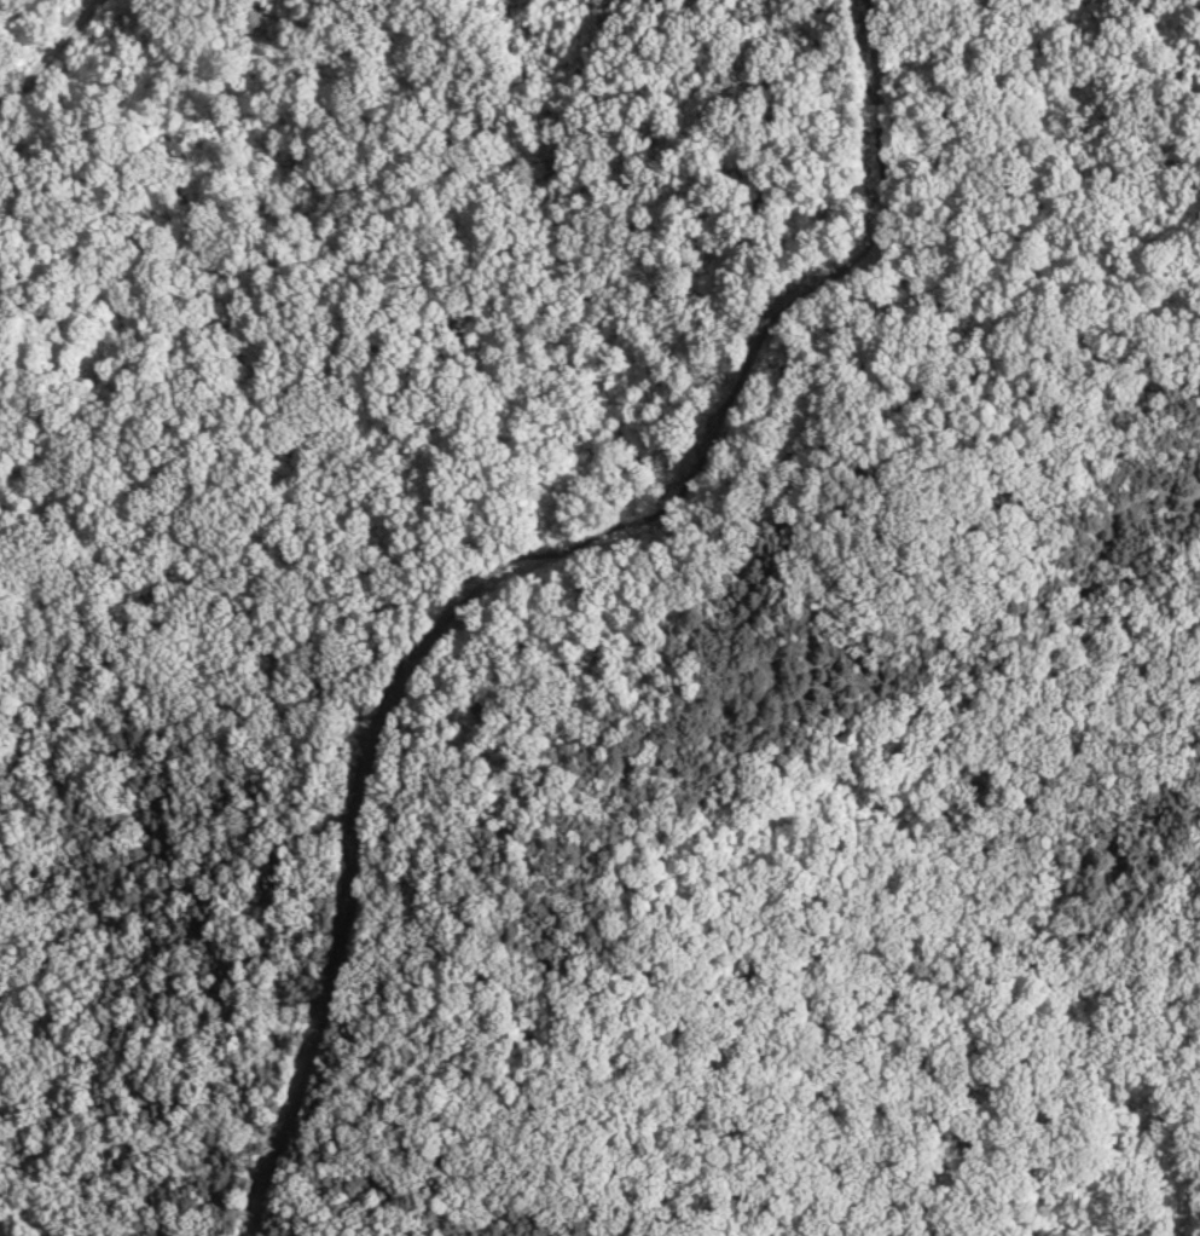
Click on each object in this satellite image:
road: (51, 53)

